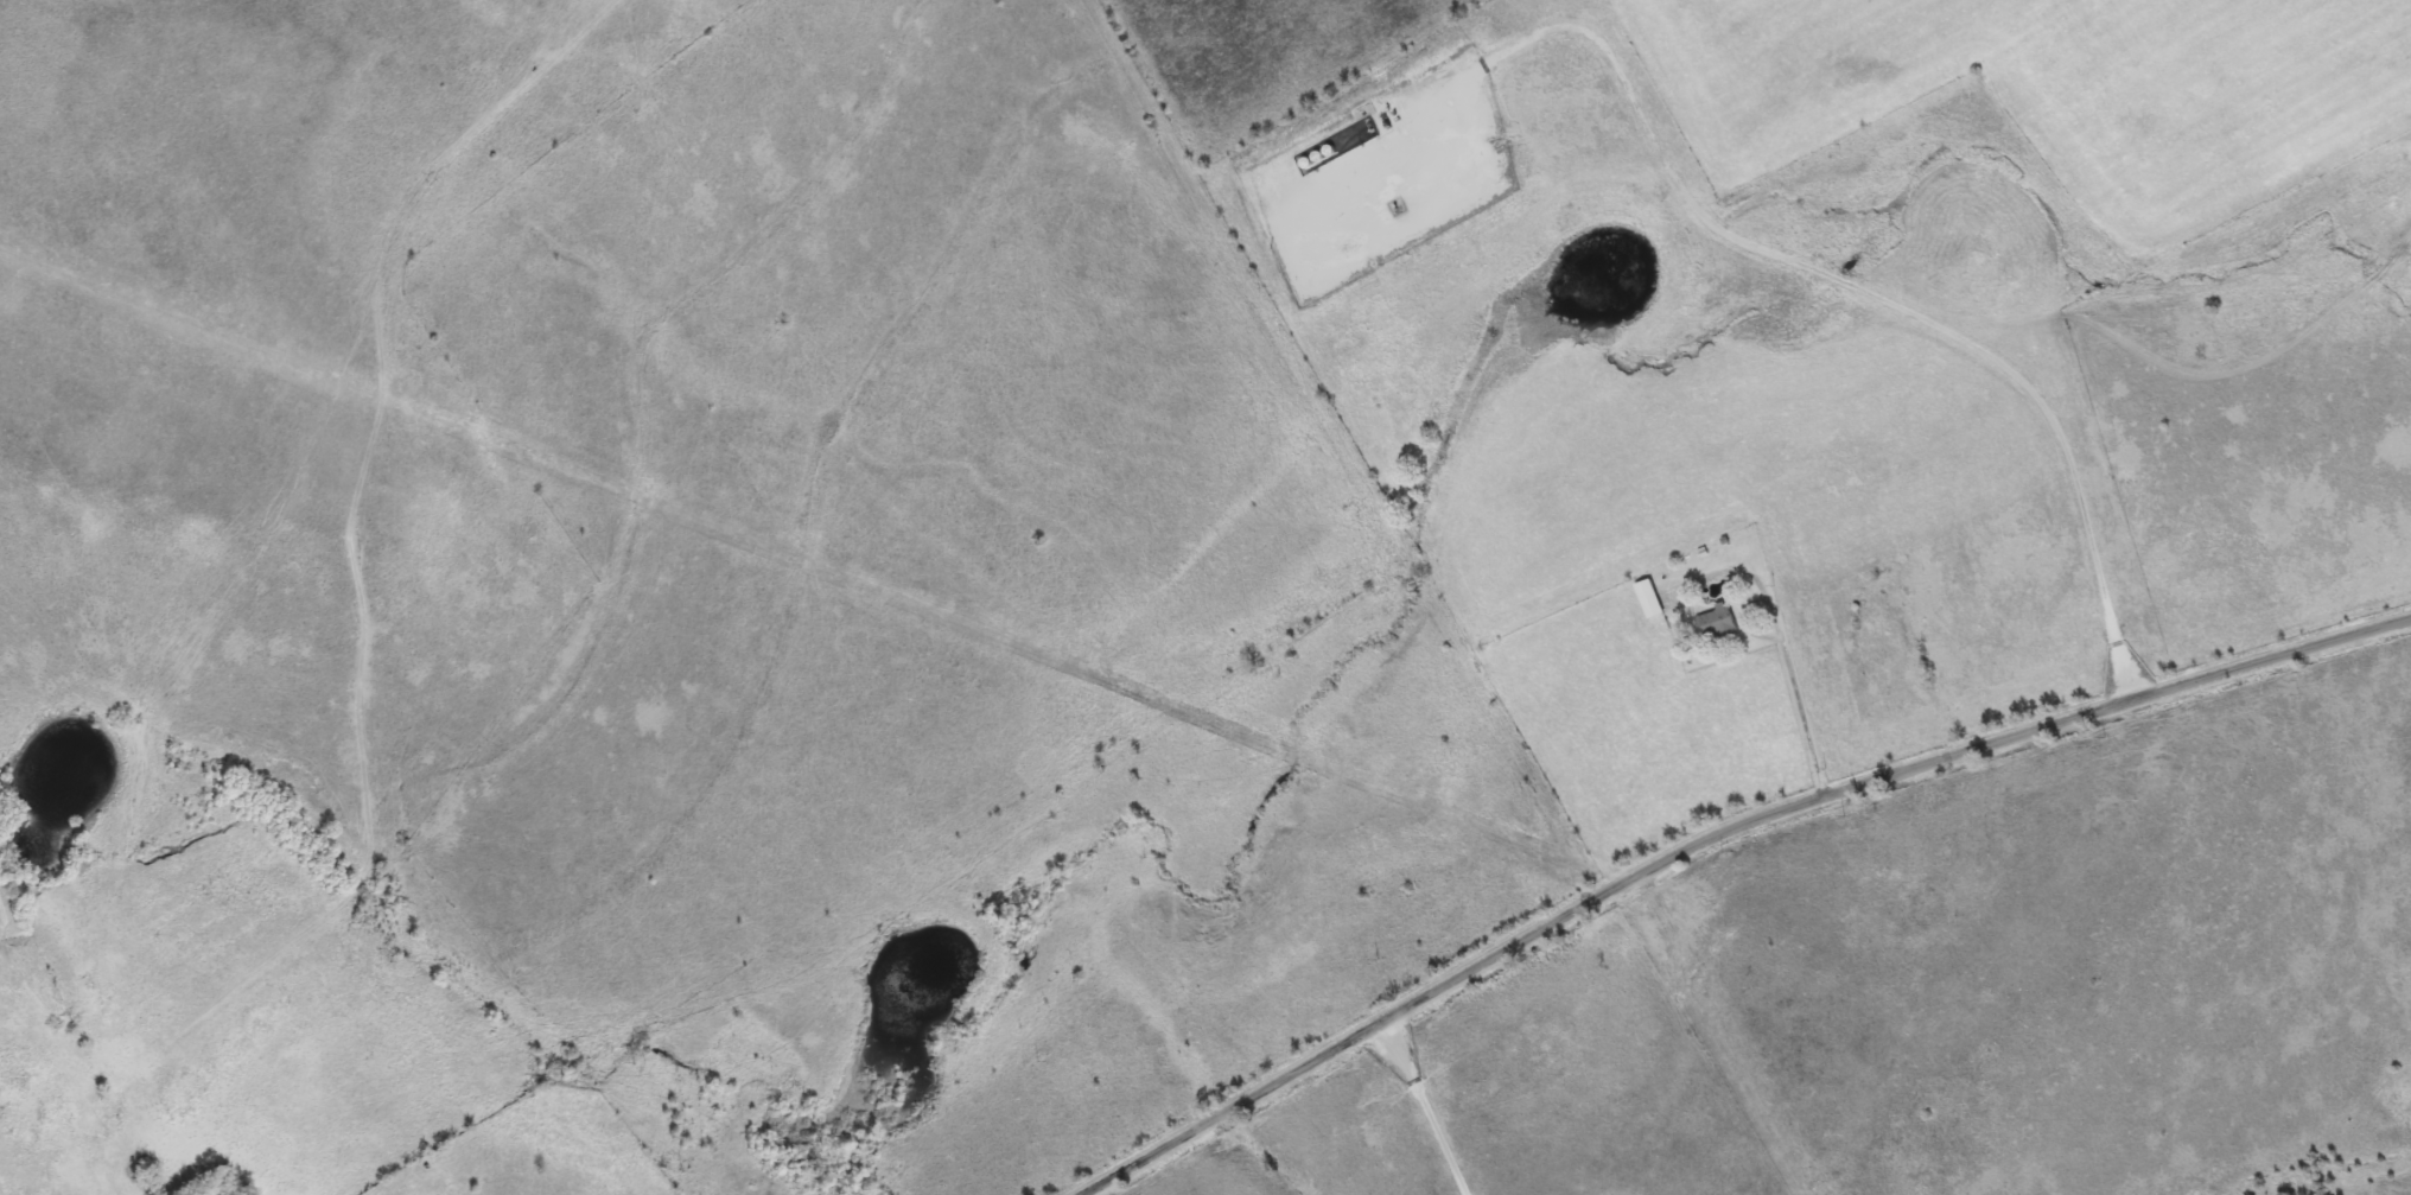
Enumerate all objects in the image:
road: (1877, 295)
building: (1648, 597)
building: (1715, 619)
road: (1564, 657)
road: (1796, 682)
road: (1720, 837)
road: (1421, 1110)

